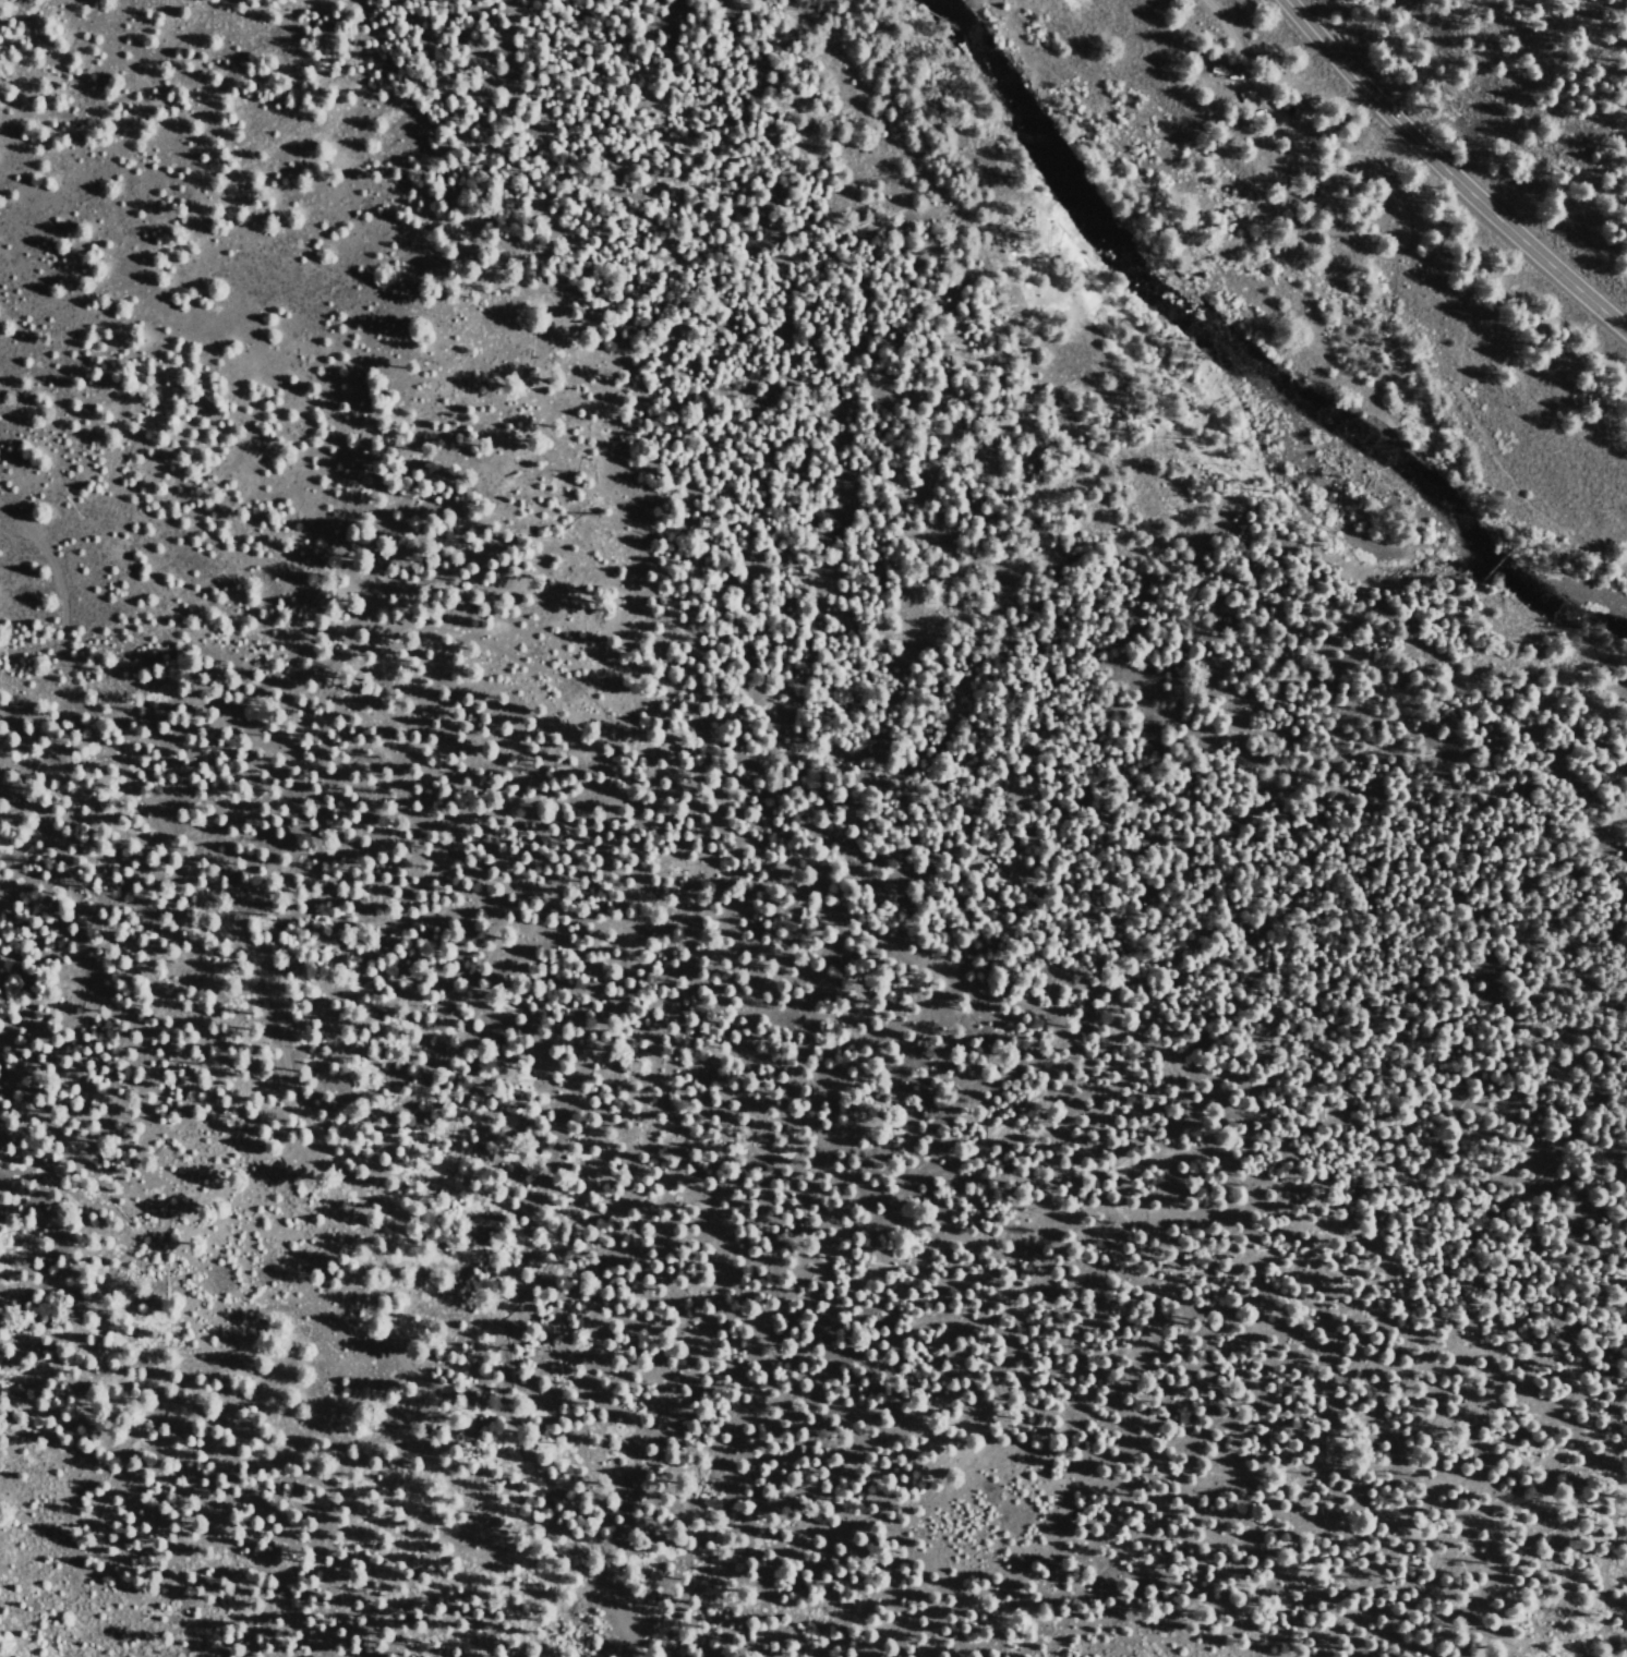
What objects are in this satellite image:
road: (1249, 76)
road: (1448, 171)
road: (1400, 240)
road: (1278, 324)
river: (1240, 355)
road: (301, 1093)

